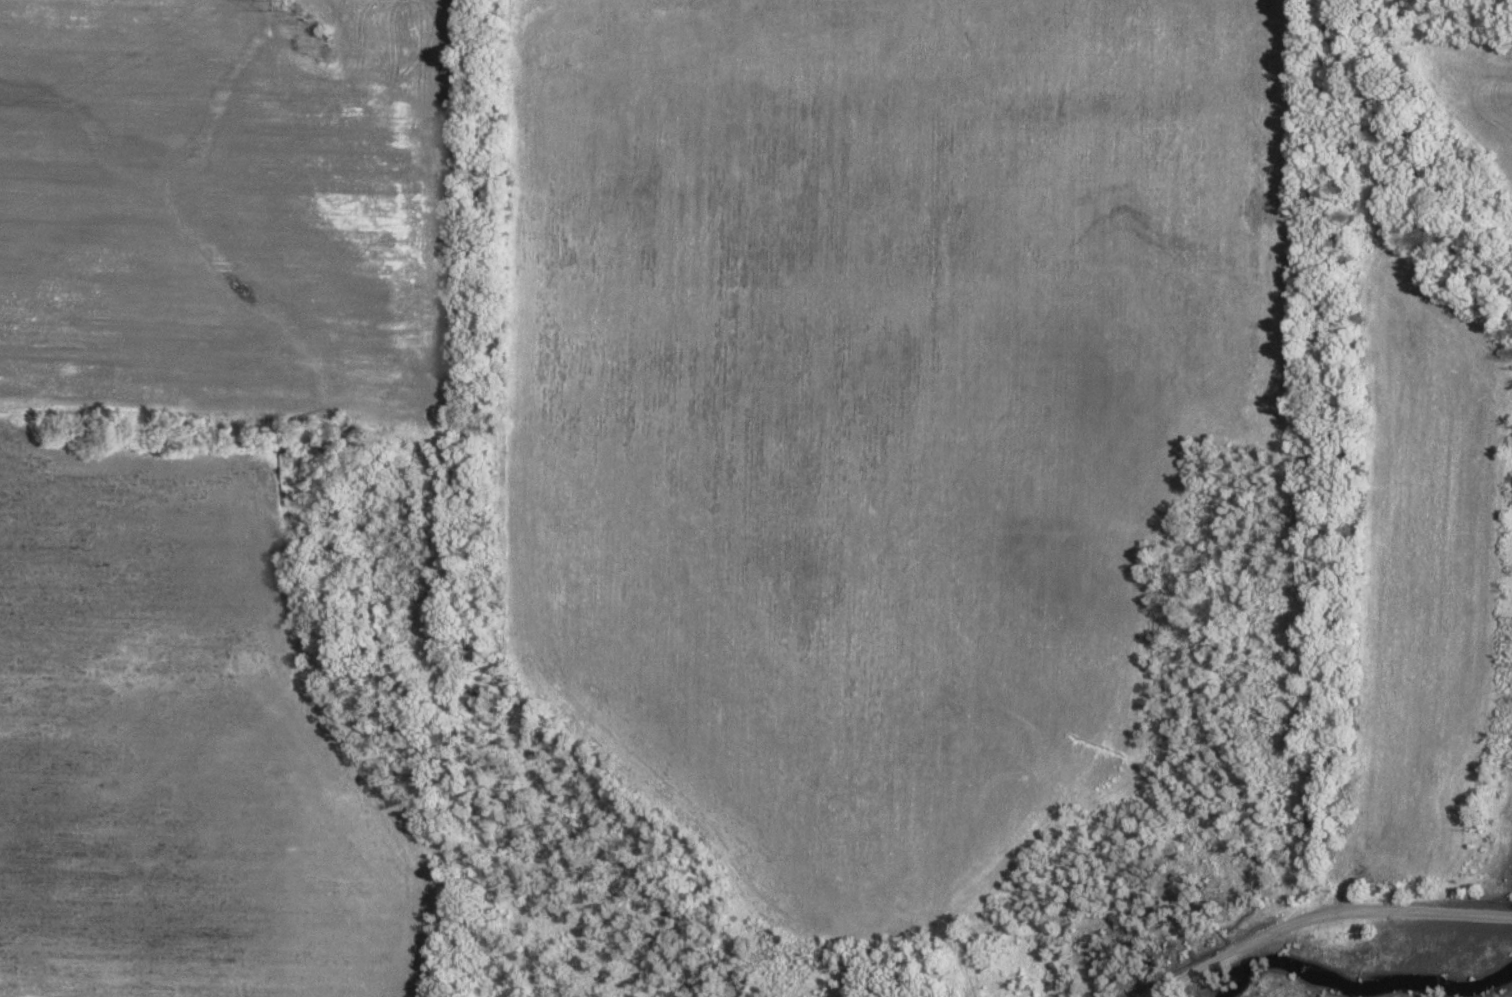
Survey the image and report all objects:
power tower: (289, 9)
road: (1302, 913)

